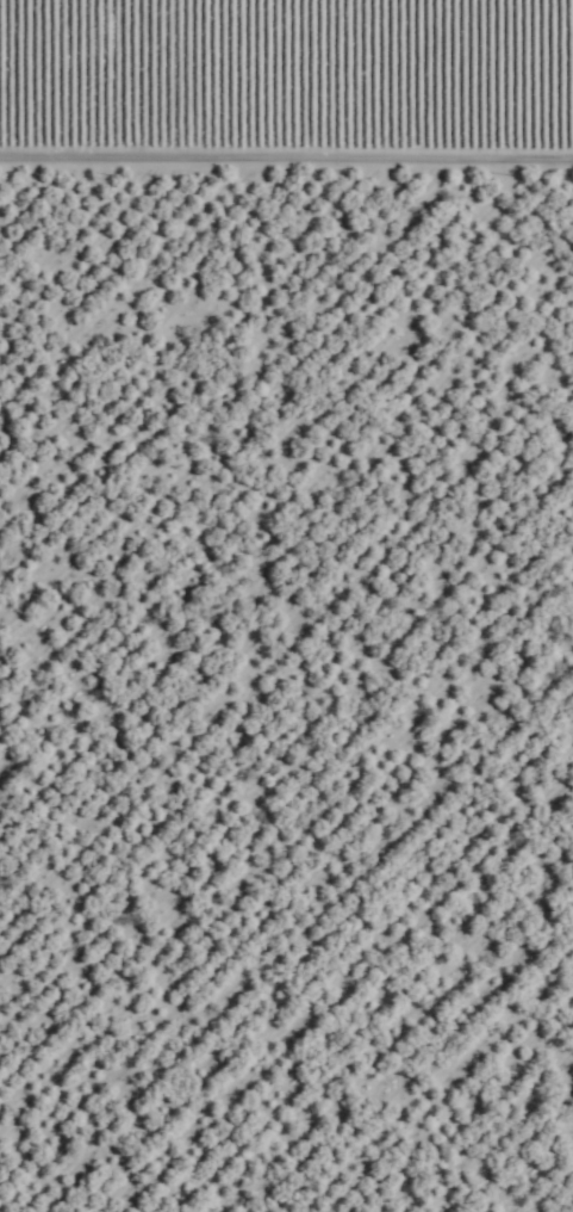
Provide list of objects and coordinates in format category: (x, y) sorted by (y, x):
crop: (286, 84)
road: (286, 123)

